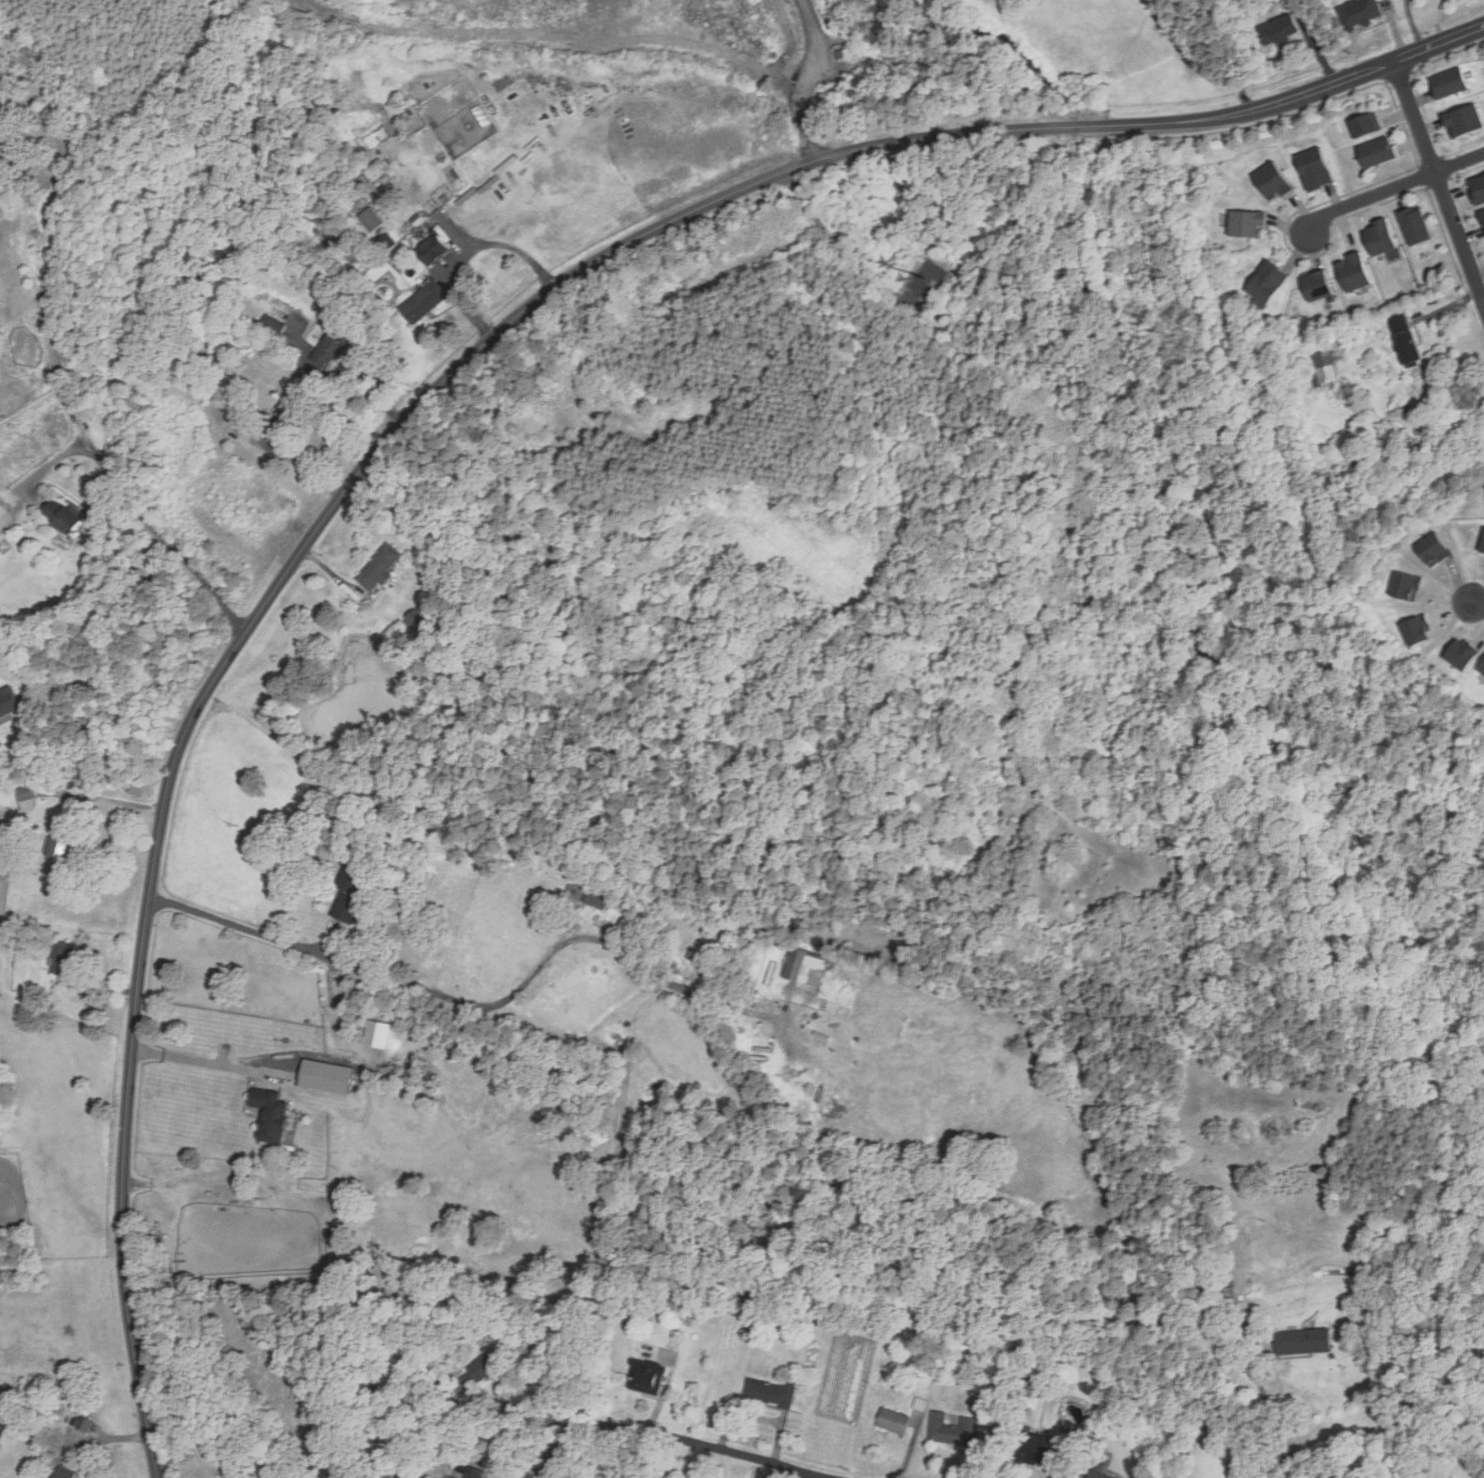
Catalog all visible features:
building: (1360, 13)
building: (1278, 30)
road: (1196, 63)
building: (1449, 82)
building: (1, 102)
building: (1463, 120)
building: (1371, 125)
building: (1383, 153)
building: (1315, 168)
building: (1273, 181)
road: (1438, 181)
road: (1392, 188)
building: (1477, 188)
building: (1482, 214)
building: (370, 218)
building: (1247, 223)
building: (1415, 225)
building: (1379, 236)
building: (431, 248)
road: (471, 251)
building: (1354, 271)
building: (1267, 282)
building: (1317, 285)
building: (423, 301)
building: (273, 324)
building: (1403, 338)
building: (327, 351)
building: (1325, 367)
road: (61, 369)
road: (419, 405)
building: (283, 410)
building: (2, 509)
building: (61, 516)
building: (1482, 545)
building: (1433, 549)
building: (379, 567)
building: (1410, 586)
road: (1478, 603)
road: (103, 618)
building: (1421, 631)
building: (1467, 654)
building: (1483, 669)
building: (7, 701)
building: (27, 797)
road: (103, 797)
building: (63, 839)
building: (348, 894)
building: (582, 898)
road: (239, 921)
building: (62, 958)
building: (806, 967)
building: (377, 1034)
road: (212, 1064)
building: (328, 1076)
building: (268, 1114)
building: (1229, 1292)
building: (1302, 1341)
building: (480, 1369)
building: (645, 1377)
building: (772, 1391)
road: (519, 1404)
building: (4, 1416)
building: (892, 1420)
building: (82, 1426)
building: (953, 1430)
road: (681, 1439)
road: (91, 1442)
building: (1034, 1449)
road: (485, 1464)
building: (63, 1473)
building: (473, 1473)
road: (812, 1475)
building: (1101, 1475)
building: (389, 1477)
building: (455, 1477)
building: (1459, 1477)

